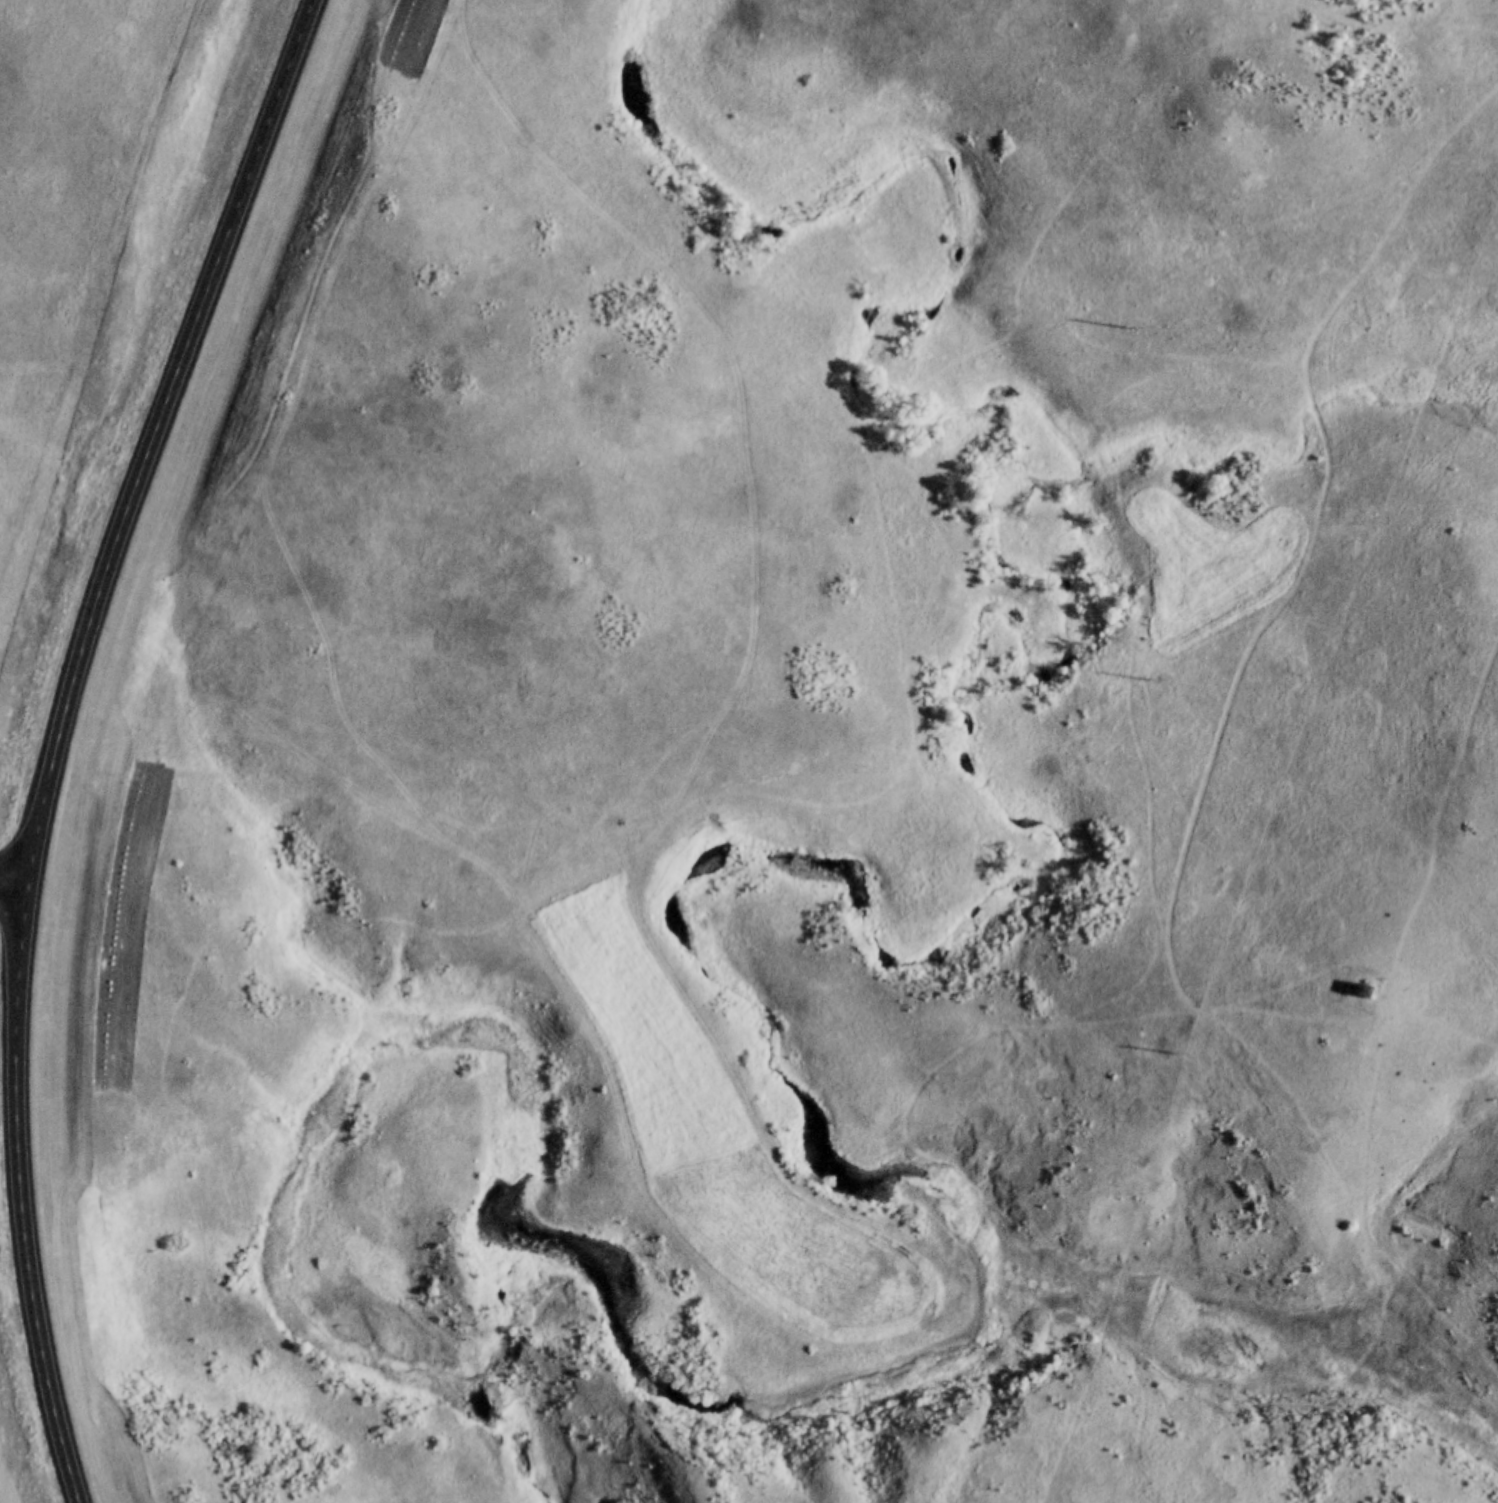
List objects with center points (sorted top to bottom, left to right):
road: (60, 734)
road: (13, 898)

